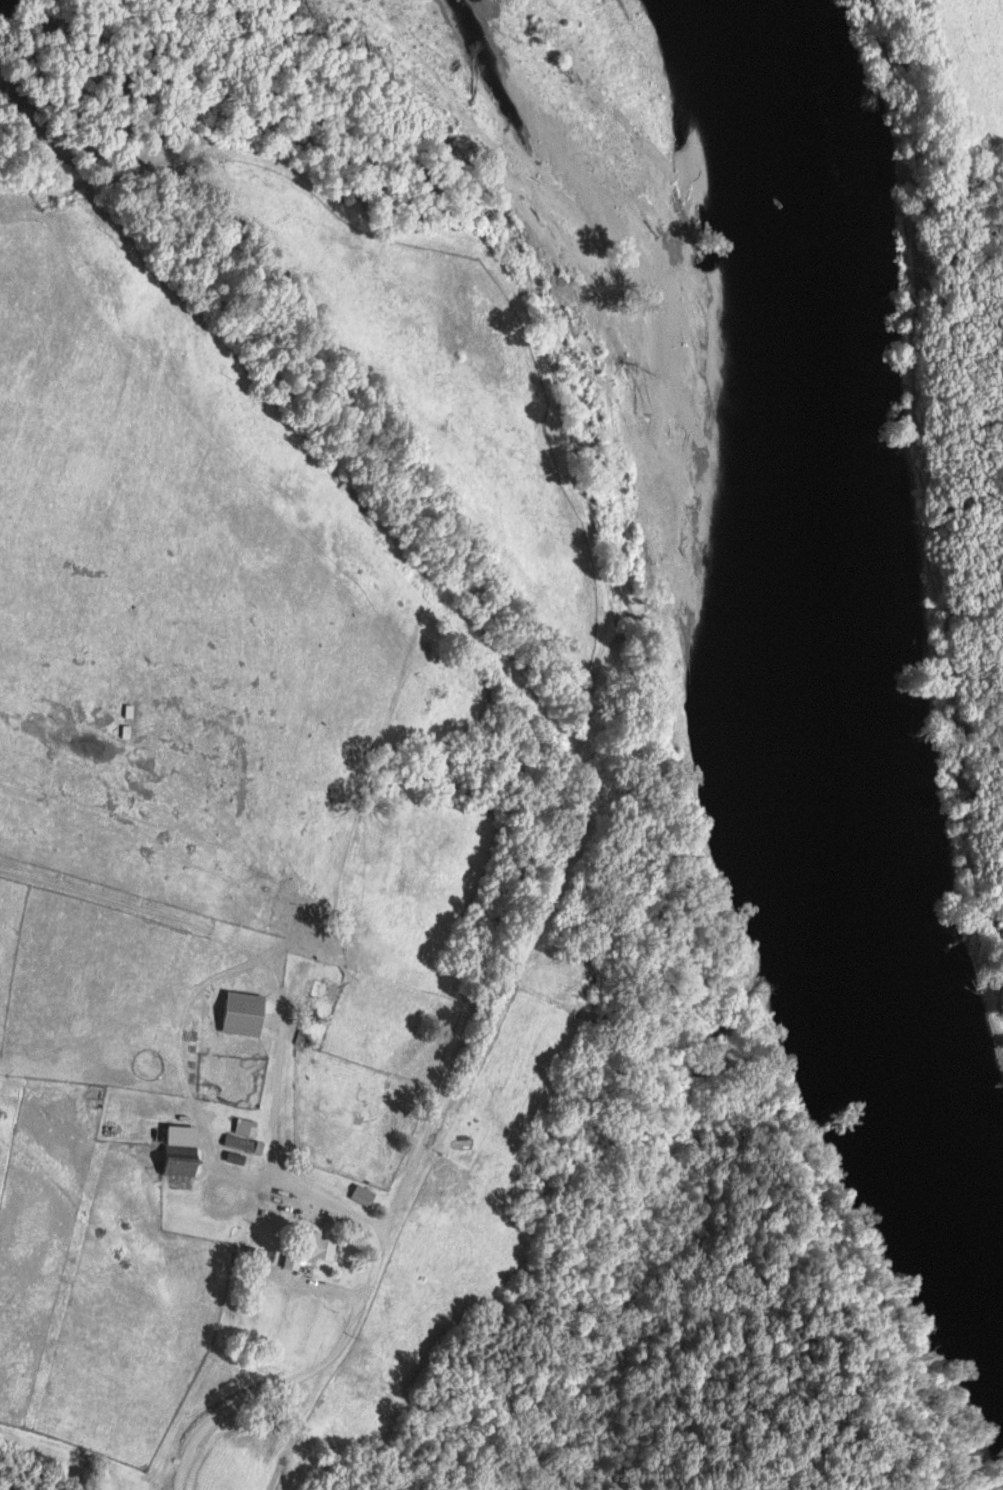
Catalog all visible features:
road: (200, 102)
river: (869, 664)
road: (502, 931)
building: (181, 1151)
building: (363, 1196)
building: (323, 1247)
building: (293, 1262)
road: (296, 1378)

